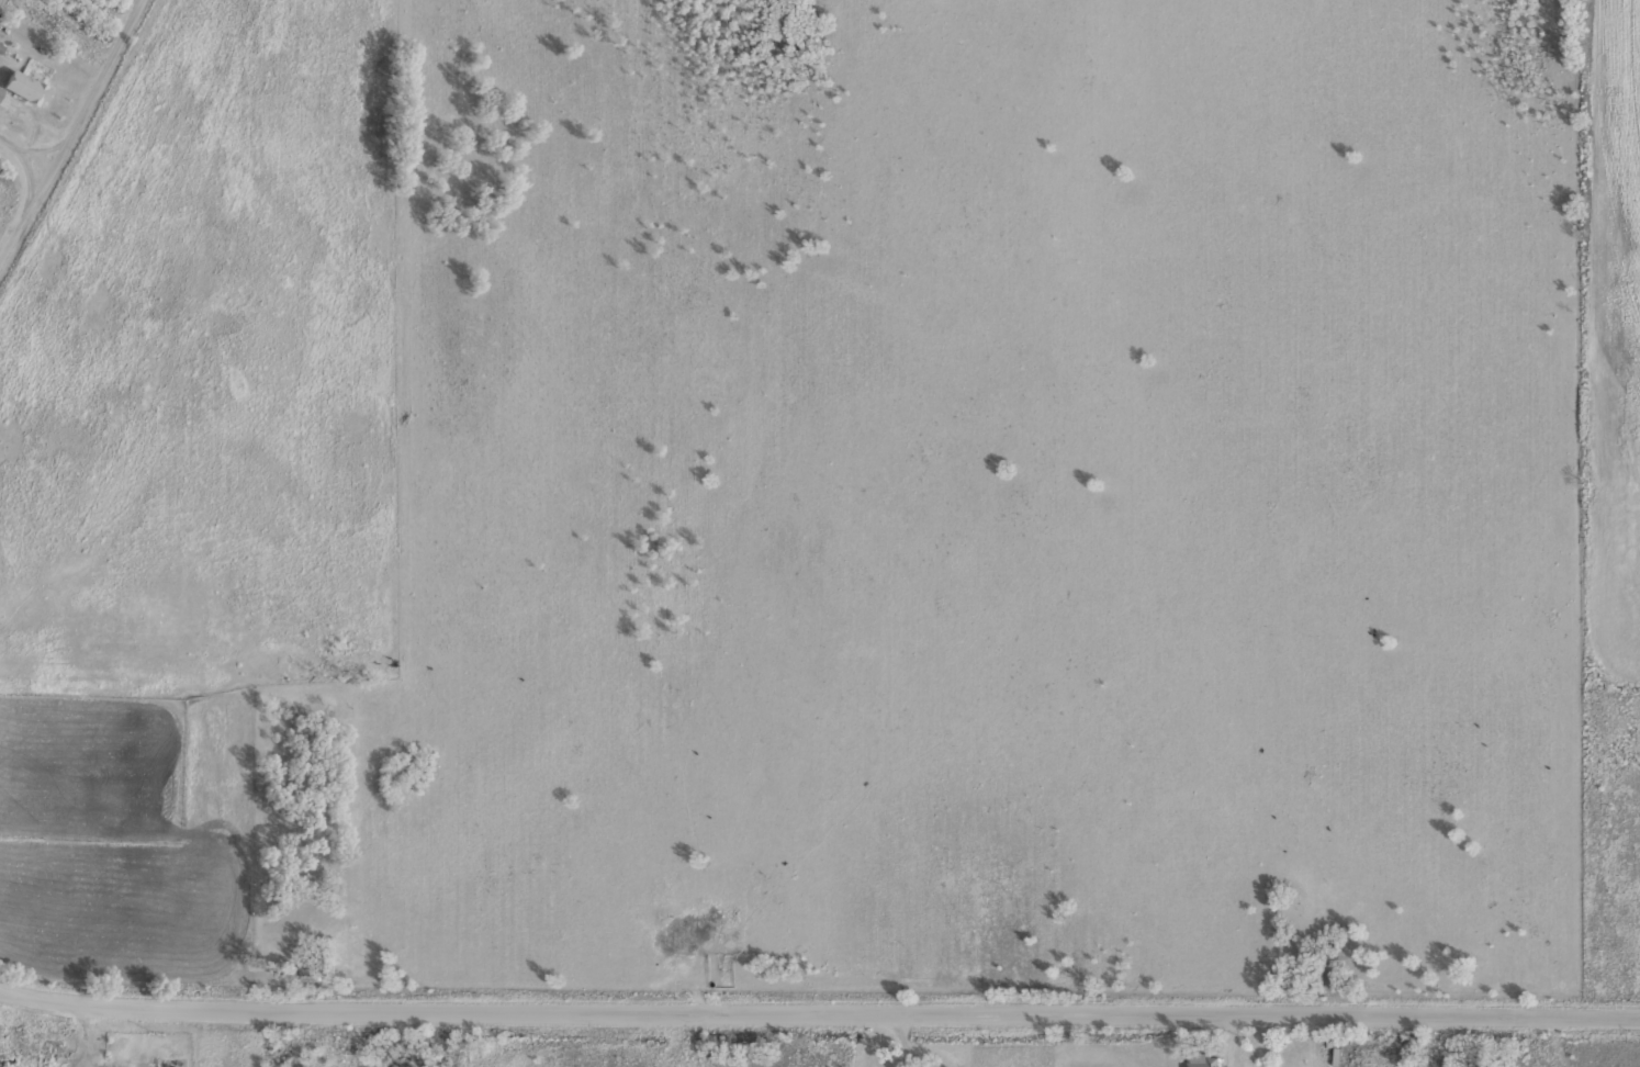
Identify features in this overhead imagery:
building: (25, 86)
building: (0, 89)
road: (69, 131)
road: (26, 148)
road: (819, 1011)
road: (86, 1040)
building: (1203, 1059)
building: (171, 1062)
road: (2, 1066)

